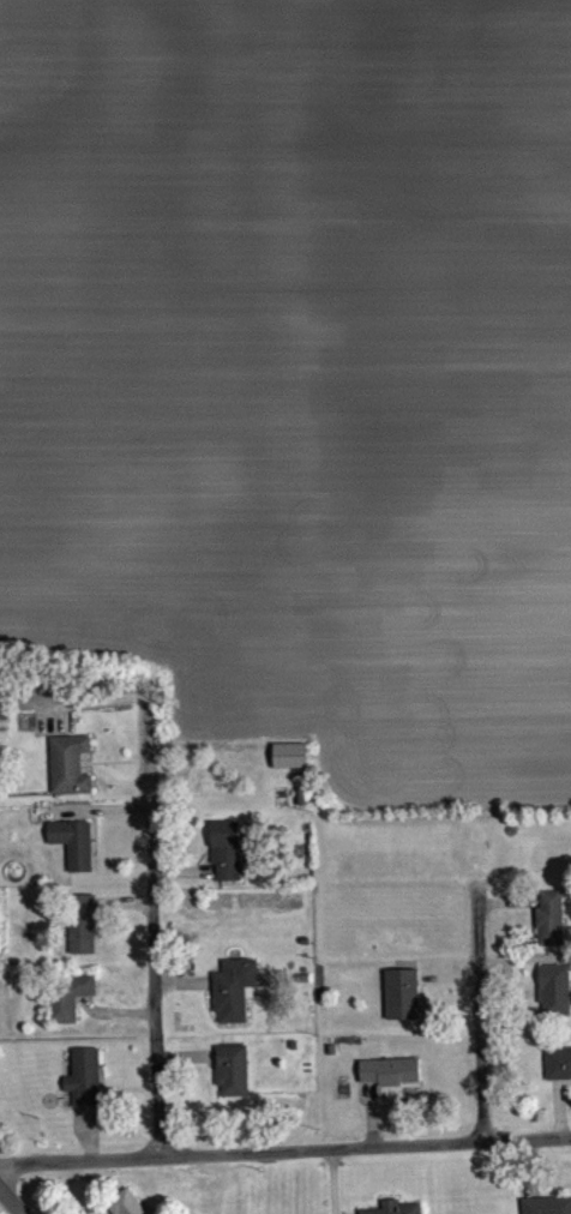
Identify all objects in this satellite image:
building: (290, 768)
building: (70, 776)
building: (74, 855)
building: (227, 863)
road: (148, 926)
building: (551, 930)
building: (83, 936)
building: (234, 1000)
building: (554, 1002)
building: (402, 1006)
building: (70, 1009)
road: (479, 1012)
building: (558, 1060)
building: (233, 1082)
building: (391, 1083)
building: (85, 1089)
road: (284, 1148)
road: (10, 1201)
building: (547, 1204)
building: (125, 1208)
building: (390, 1213)

